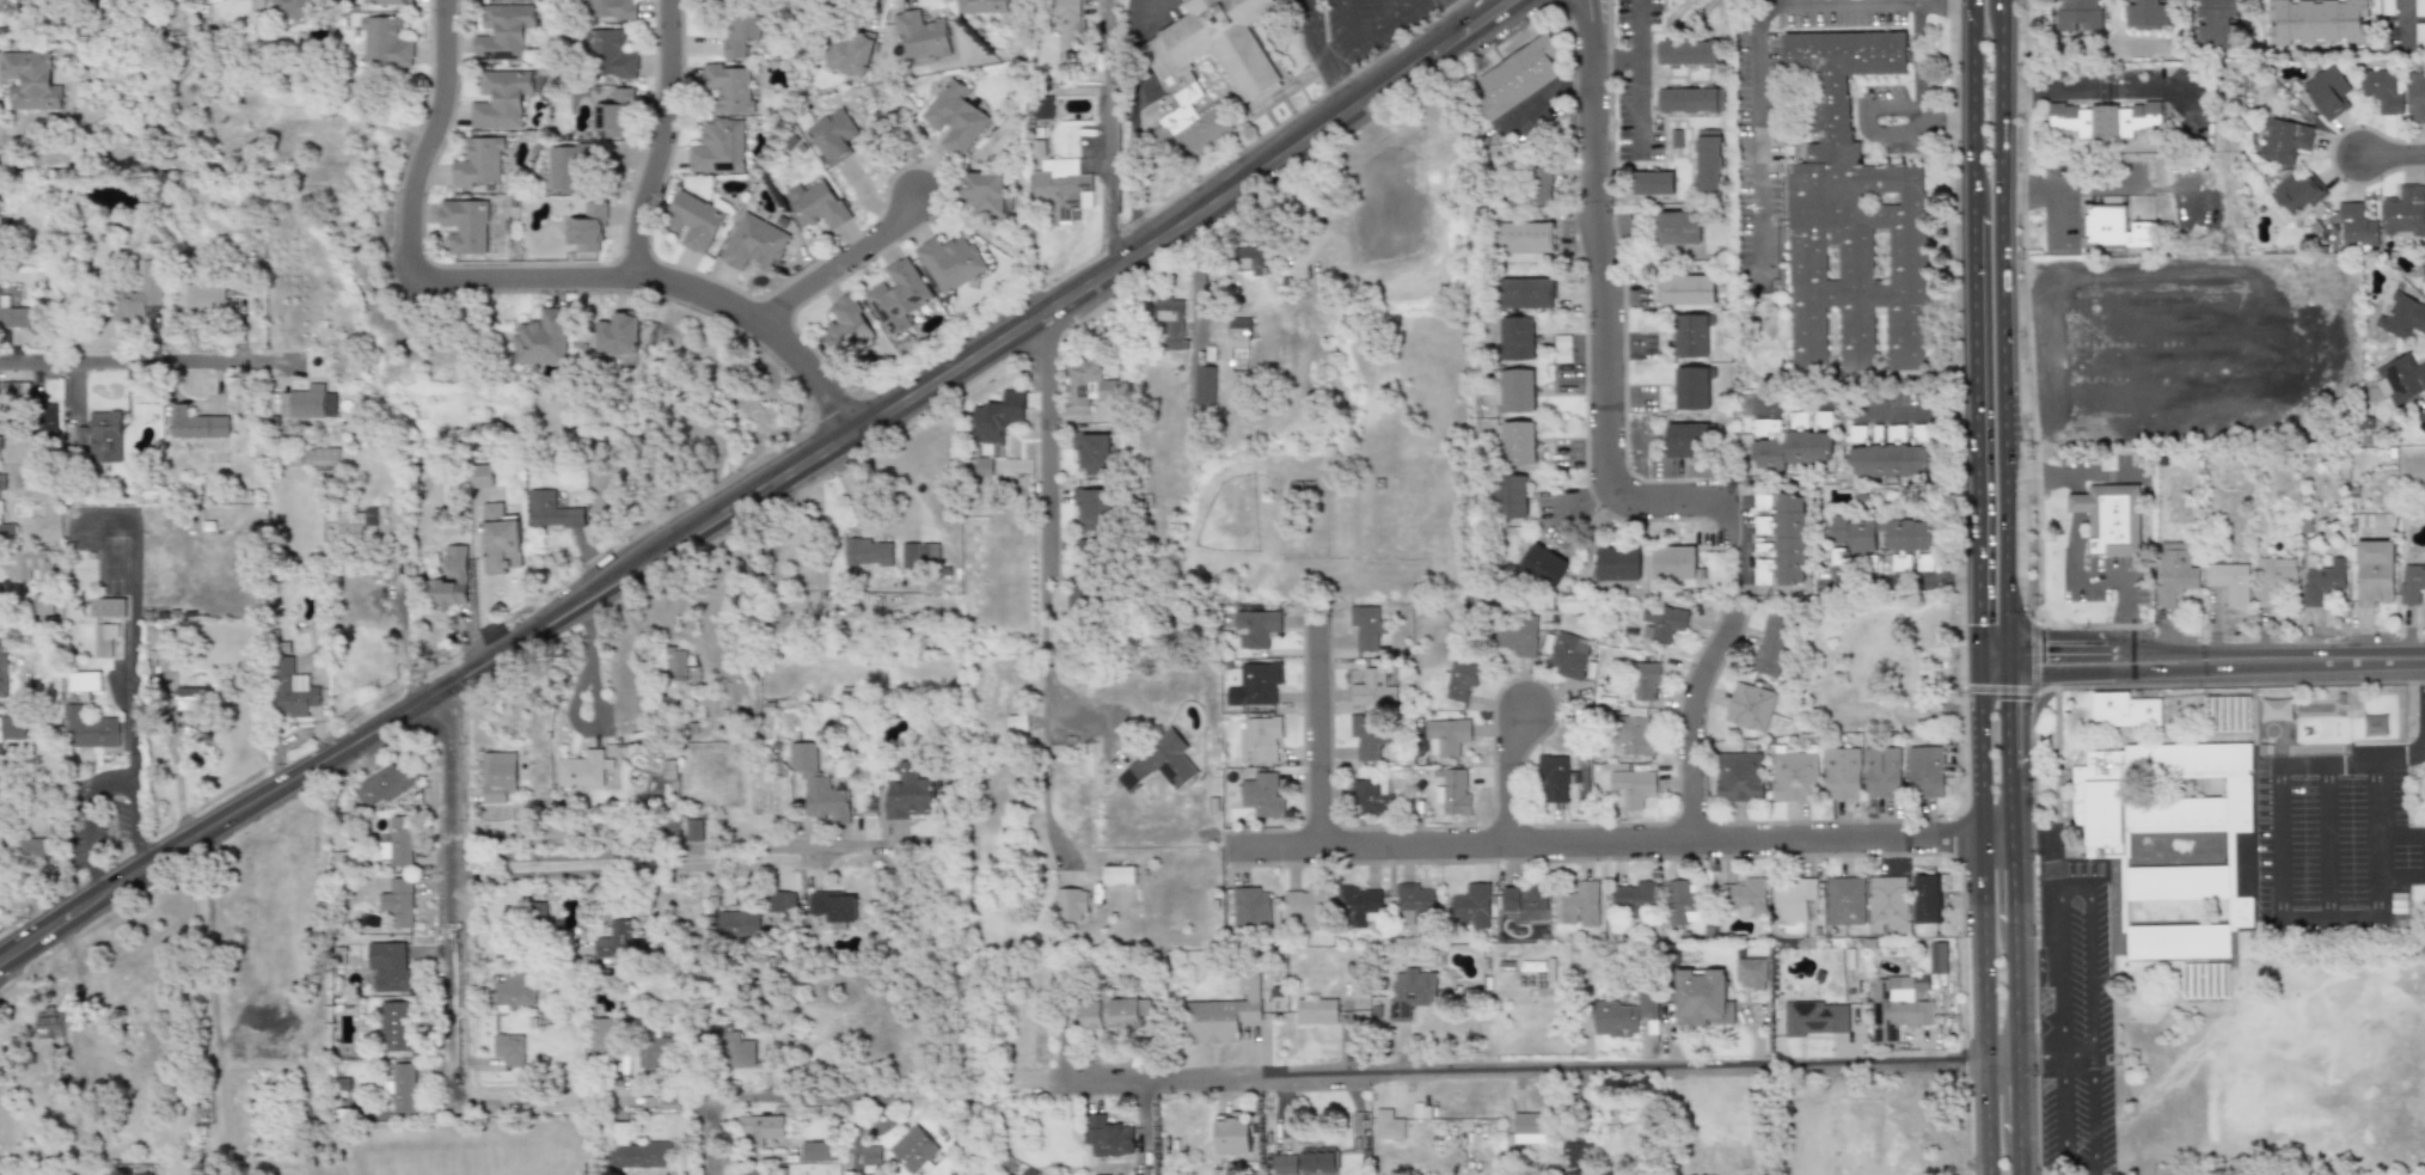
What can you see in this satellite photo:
building: (390, 1)
building: (982, 6)
building: (293, 10)
building: (611, 10)
road: (1395, 12)
road: (1458, 13)
building: (2148, 13)
building: (2077, 14)
building: (2316, 20)
road: (2401, 23)
building: (1067, 25)
building: (2218, 27)
road: (1639, 29)
building: (503, 32)
road: (1360, 33)
building: (741, 35)
building: (920, 36)
building: (382, 41)
road: (1755, 42)
road: (2081, 49)
building: (851, 53)
building: (1686, 53)
building: (611, 54)
road: (1323, 55)
building: (1255, 73)
building: (1519, 75)
building: (30, 80)
road: (1639, 82)
road: (2047, 86)
building: (729, 87)
road: (1915, 88)
building: (2382, 90)
building: (2326, 93)
building: (2417, 97)
building: (501, 98)
building: (1690, 100)
road: (1972, 105)
building: (616, 114)
building: (955, 117)
road: (1866, 118)
building: (2102, 123)
road: (1115, 134)
building: (834, 136)
building: (2283, 136)
road: (661, 137)
building: (718, 146)
road: (2393, 152)
building: (479, 163)
building: (1708, 164)
building: (565, 166)
building: (1653, 183)
road: (2130, 185)
building: (1064, 186)
building: (1533, 188)
road: (2054, 188)
building: (985, 191)
building: (2297, 191)
building: (817, 206)
building: (2403, 209)
building: (1853, 216)
building: (696, 220)
building: (2332, 221)
building: (465, 225)
building: (2356, 225)
building: (2111, 226)
building: (587, 228)
building: (1678, 228)
building: (1525, 237)
building: (754, 243)
building: (2322, 247)
building: (1250, 258)
road: (843, 259)
building: (950, 262)
building: (2423, 267)
road: (523, 275)
road: (1198, 290)
building: (1689, 292)
building: (137, 293)
building: (1526, 293)
building: (204, 295)
building: (899, 296)
road: (1605, 304)
building: (2403, 314)
building: (20, 317)
building: (1171, 320)
building: (846, 326)
road: (2002, 328)
building: (1695, 336)
building: (618, 337)
building: (1518, 338)
building: (541, 339)
building: (1239, 342)
building: (1562, 348)
road: (130, 362)
building: (2401, 378)
building: (1204, 384)
building: (1086, 385)
building: (1695, 388)
building: (13, 390)
building: (1515, 390)
building: (307, 403)
road: (1864, 412)
building: (2423, 415)
building: (994, 417)
building: (48, 418)
building: (2366, 421)
building: (195, 423)
road: (1976, 434)
building: (102, 436)
building: (1689, 440)
building: (1519, 442)
building: (1795, 449)
building: (311, 454)
building: (1094, 454)
building: (1890, 460)
building: (982, 465)
building: (482, 476)
road: (1042, 479)
road: (760, 489)
building: (1512, 496)
building: (1, 500)
building: (1092, 508)
building: (552, 510)
building: (2109, 516)
building: (350, 525)
building: (1855, 534)
building: (500, 538)
building: (1792, 539)
building: (1910, 539)
building: (1090, 546)
building: (869, 552)
building: (911, 553)
building: (1618, 563)
building: (1677, 563)
building: (35, 565)
building: (1544, 565)
building: (2374, 571)
building: (2326, 574)
building: (2178, 576)
building: (451, 579)
building: (2228, 580)
building: (2274, 581)
building: (2411, 582)
building: (1086, 587)
building: (43, 604)
building: (108, 607)
road: (1066, 619)
building: (1659, 624)
building: (1255, 628)
building: (1366, 628)
road: (133, 630)
building: (1518, 634)
building: (106, 639)
building: (1774, 643)
road: (400, 647)
building: (1569, 655)
road: (1992, 657)
road: (2215, 657)
building: (674, 665)
building: (7, 674)
building: (1462, 681)
building: (1647, 681)
building: (84, 683)
building: (1254, 685)
building: (1371, 687)
building: (292, 689)
building: (1750, 705)
building: (2123, 706)
building: (2276, 708)
building: (2227, 711)
road: (2005, 712)
building: (188, 721)
road: (1689, 721)
building: (1016, 723)
building: (2375, 723)
building: (12, 727)
building: (91, 732)
building: (1634, 734)
road: (1319, 735)
building: (1447, 735)
building: (1367, 736)
building: (1261, 740)
road: (1042, 757)
road: (2403, 758)
building: (1157, 764)
building: (586, 769)
building: (1795, 772)
building: (1843, 772)
building: (1884, 772)
building: (1928, 772)
road: (1505, 773)
building: (496, 775)
building: (1555, 776)
building: (1739, 776)
building: (384, 785)
building: (817, 785)
building: (1631, 788)
road: (100, 789)
building: (1455, 791)
building: (910, 792)
building: (1262, 792)
building: (1372, 796)
road: (2008, 801)
building: (692, 830)
building: (545, 832)
road: (2402, 836)
road: (1616, 840)
building: (399, 842)
road: (2326, 842)
building: (2106, 843)
building: (31, 849)
road: (660, 850)
parking lot: (2333, 852)
building: (1117, 875)
road: (2402, 876)
road: (2010, 880)
road: (595, 886)
building: (1635, 894)
building: (1743, 896)
building: (1792, 899)
building: (1925, 899)
building: (779, 900)
building: (1845, 900)
building: (1887, 900)
building: (1358, 901)
building: (398, 902)
building: (1525, 902)
building: (1070, 904)
building: (1414, 904)
building: (1580, 904)
building: (1684, 905)
building: (1305, 906)
building: (1470, 906)
building: (833, 907)
building: (1250, 907)
building: (539, 911)
road: (1984, 916)
road: (2280, 922)
building: (737, 924)
building: (621, 938)
road: (2058, 950)
road: (2088, 954)
building: (1937, 957)
building: (388, 965)
building: (1751, 973)
building: (2204, 978)
building: (514, 990)
building: (1409, 991)
road: (2014, 992)
building: (1701, 997)
road: (213, 1003)
building: (1316, 1010)
building: (1123, 1012)
building: (1088, 1015)
building: (1223, 1015)
building: (1623, 1015)
building: (1813, 1017)
building: (48, 1026)
building: (399, 1028)
building: (508, 1048)
building: (654, 1051)
building: (740, 1051)
road: (455, 1053)
road: (1532, 1071)
building: (402, 1088)
road: (814, 1095)
road: (2017, 1096)
building: (1386, 1125)
building: (1531, 1127)
building: (760, 1130)
building: (1107, 1137)
building: (912, 1148)
building: (817, 1151)
road: (2019, 1153)
building: (641, 1155)
building: (1579, 1156)
building: (870, 1158)
building: (1305, 1161)
road: (2092, 1165)
building: (754, 1171)

